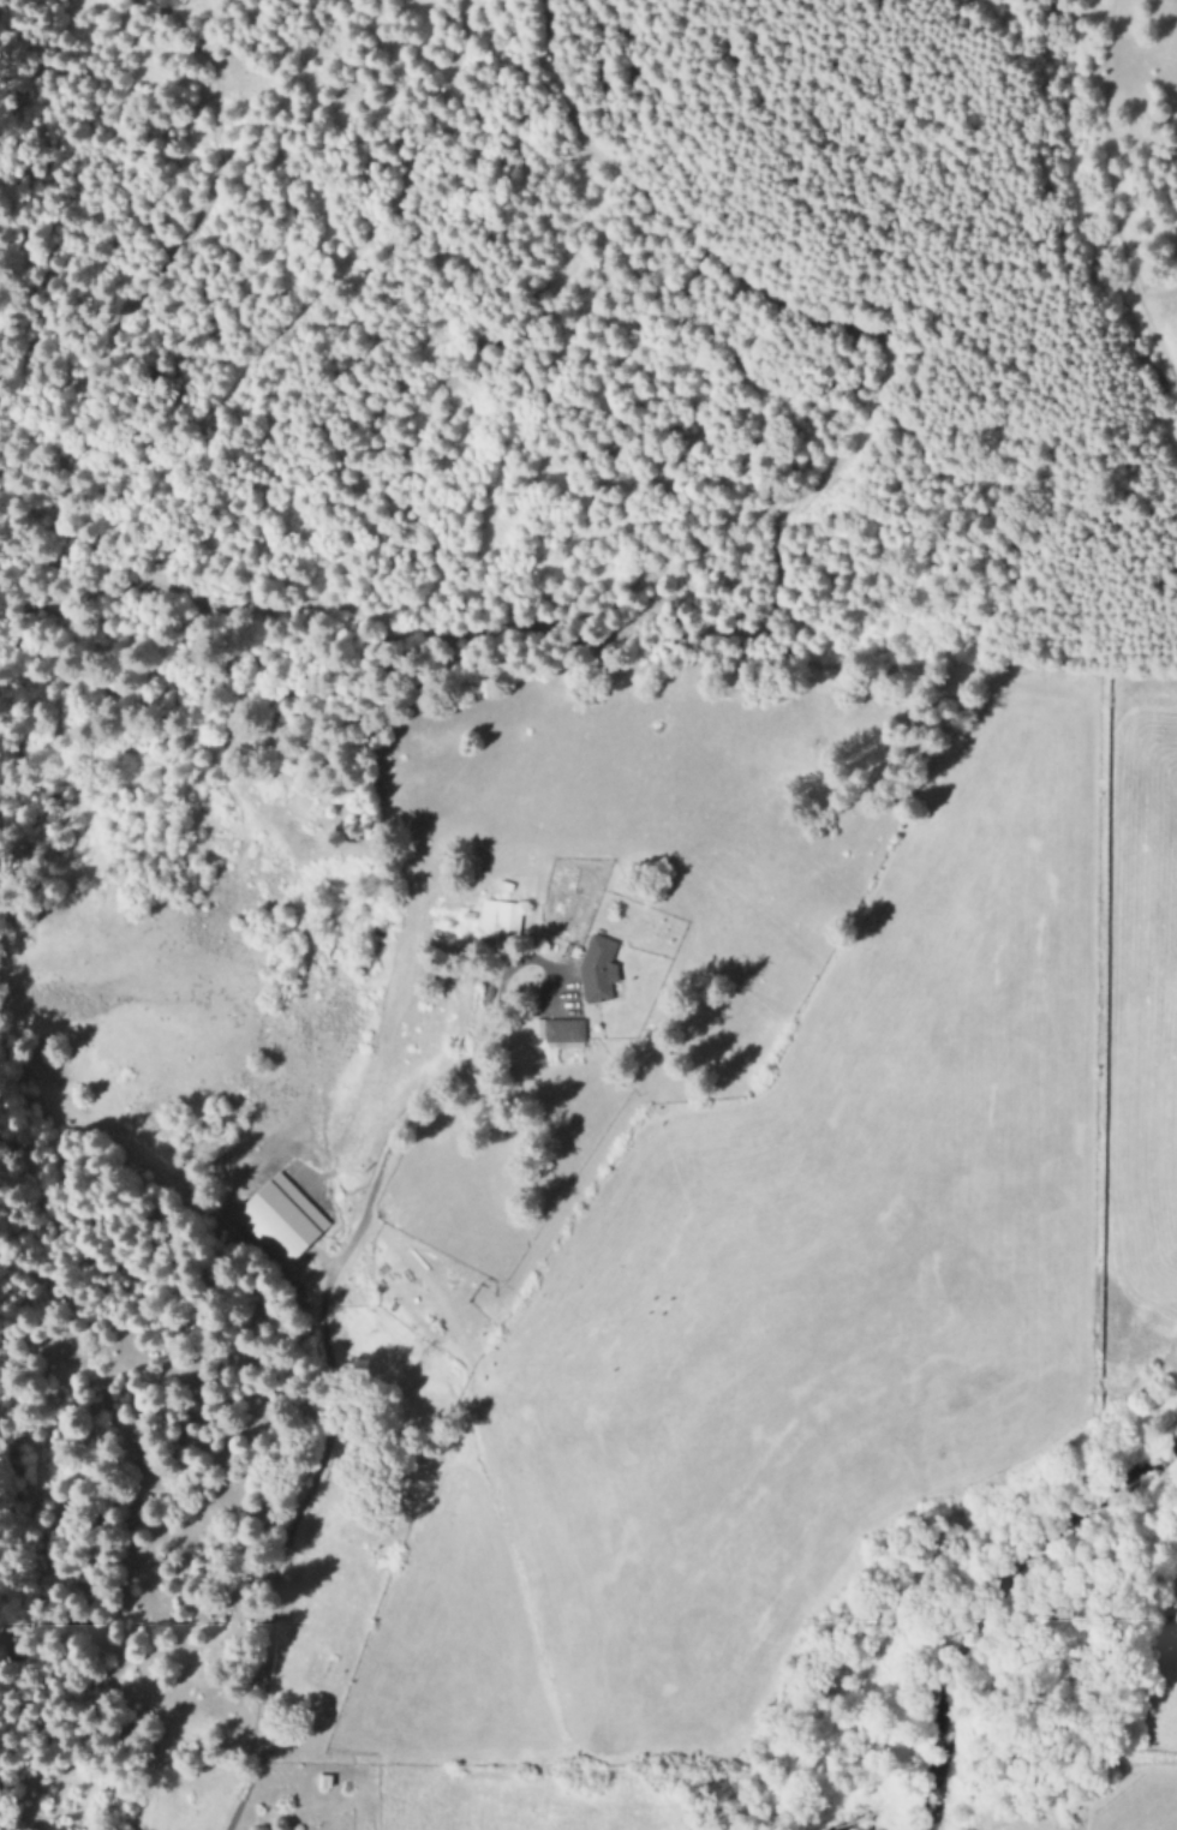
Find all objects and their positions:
building: (497, 920)
building: (593, 970)
building: (556, 1033)
road: (328, 1381)

